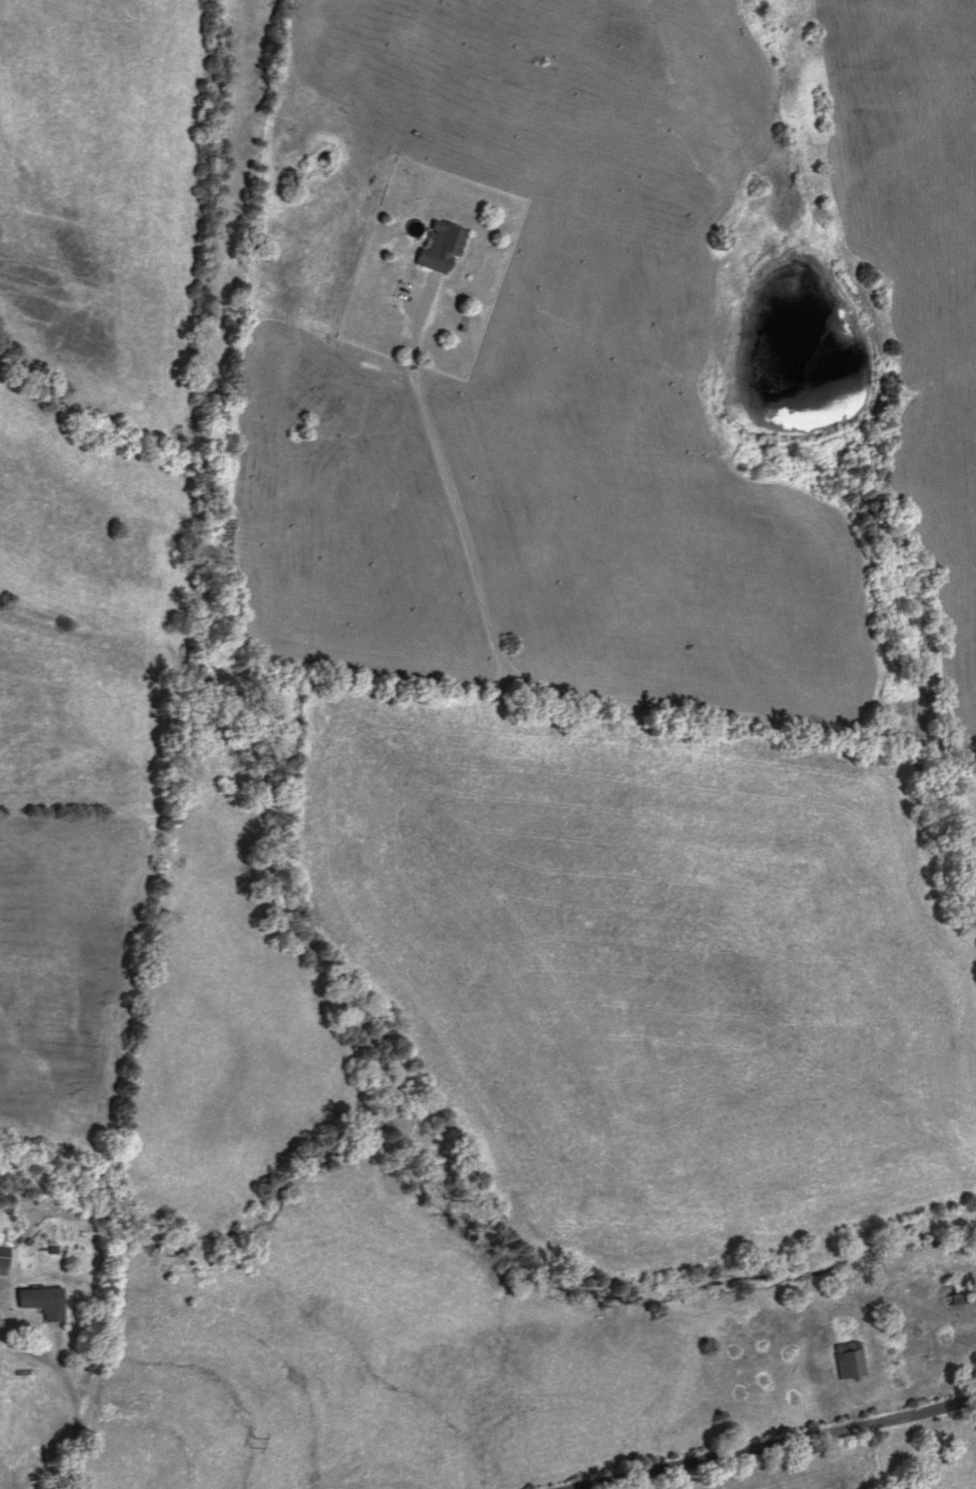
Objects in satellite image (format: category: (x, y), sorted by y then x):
building: (442, 246)
road: (91, 1089)
building: (4, 1260)
building: (956, 1294)
building: (42, 1302)
building: (849, 1361)
road: (779, 1443)

